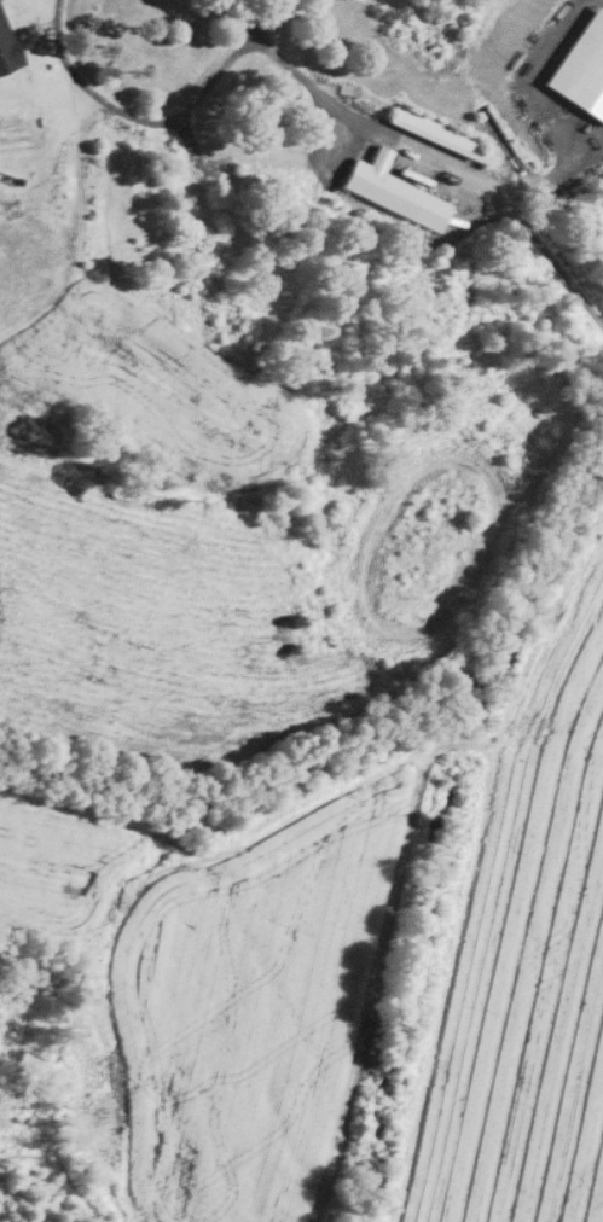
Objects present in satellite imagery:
building: (8, 45)
road: (526, 81)
road: (153, 121)
building: (440, 130)
road: (410, 142)
road: (595, 153)
building: (398, 191)

